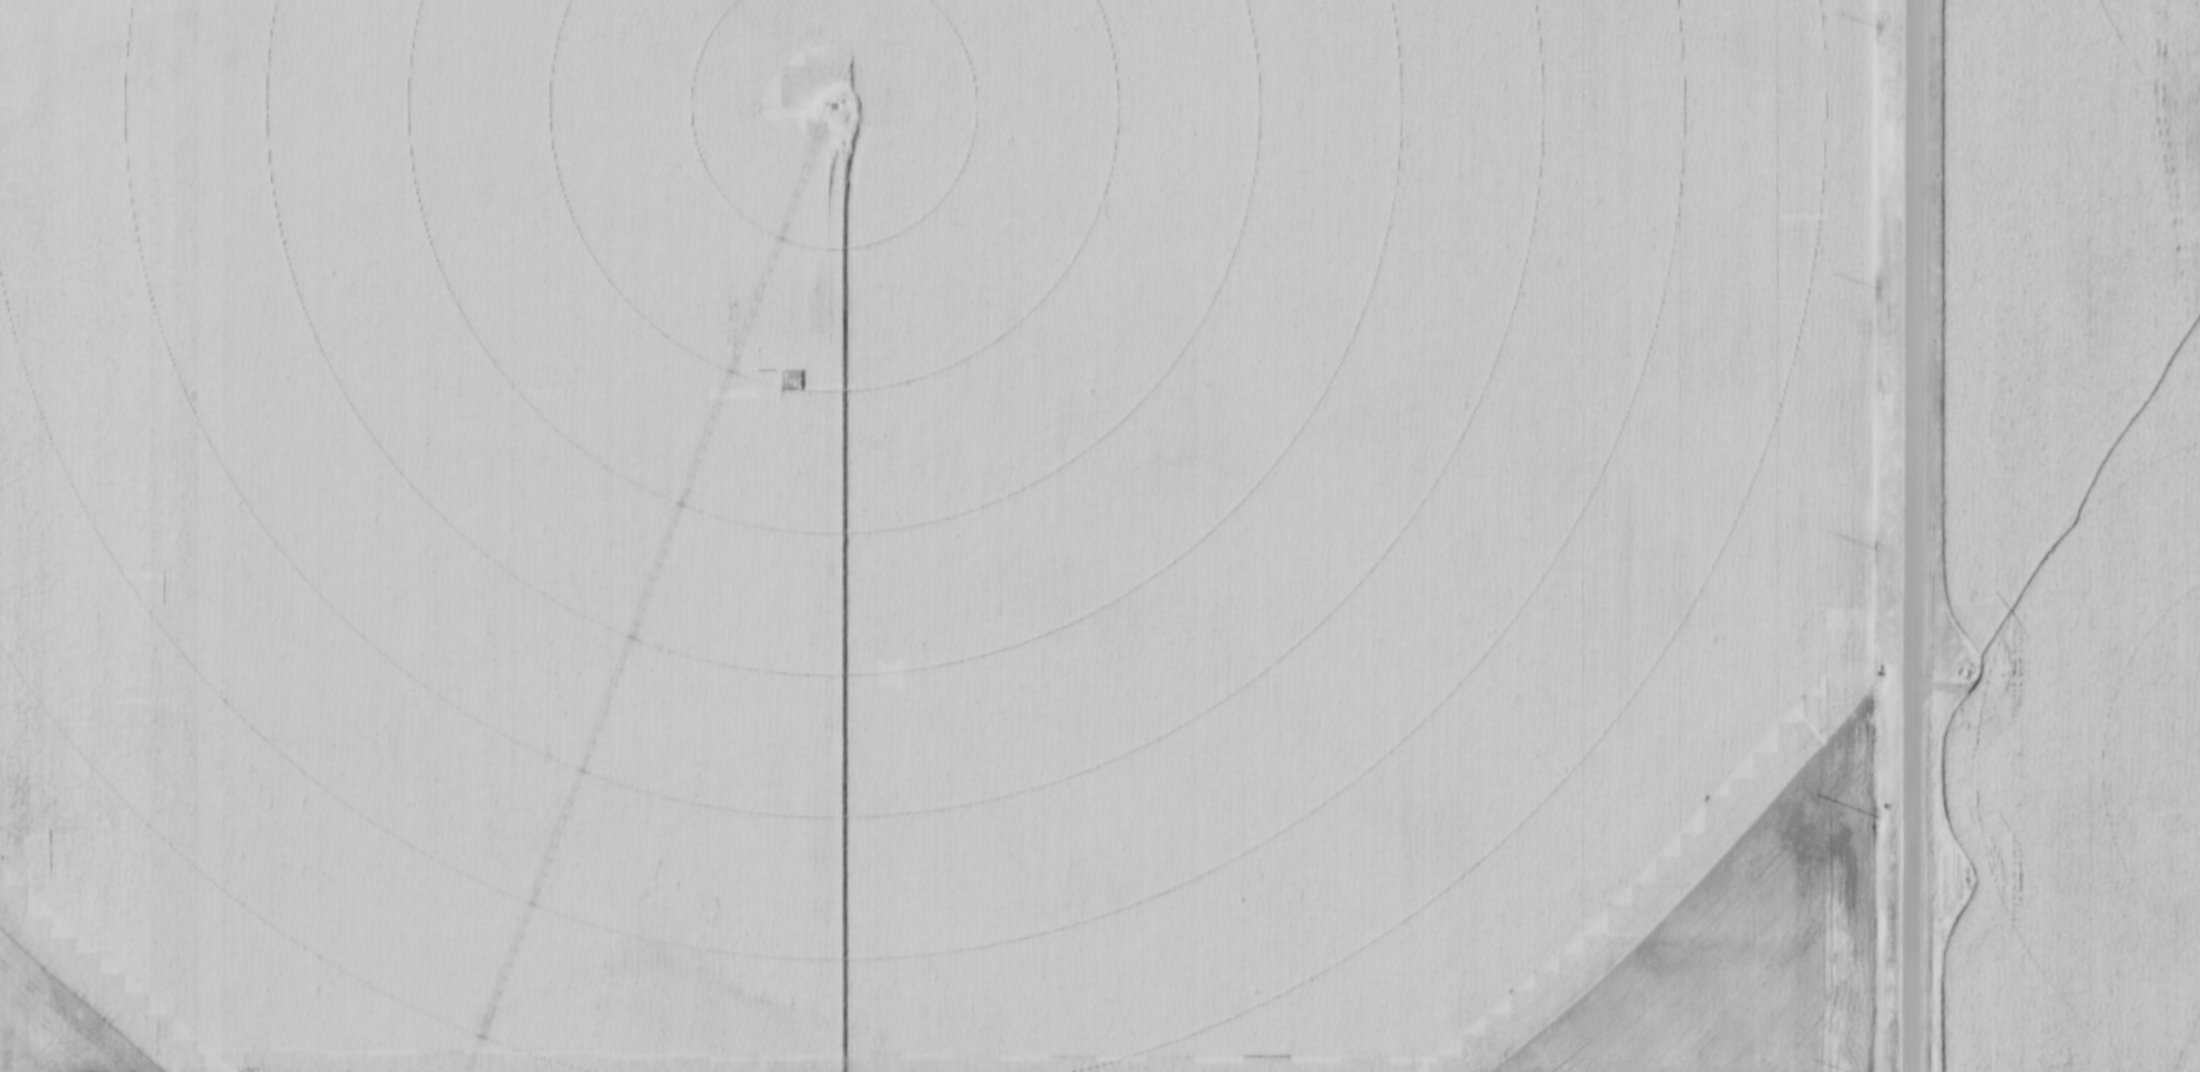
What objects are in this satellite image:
road: (1915, 535)

